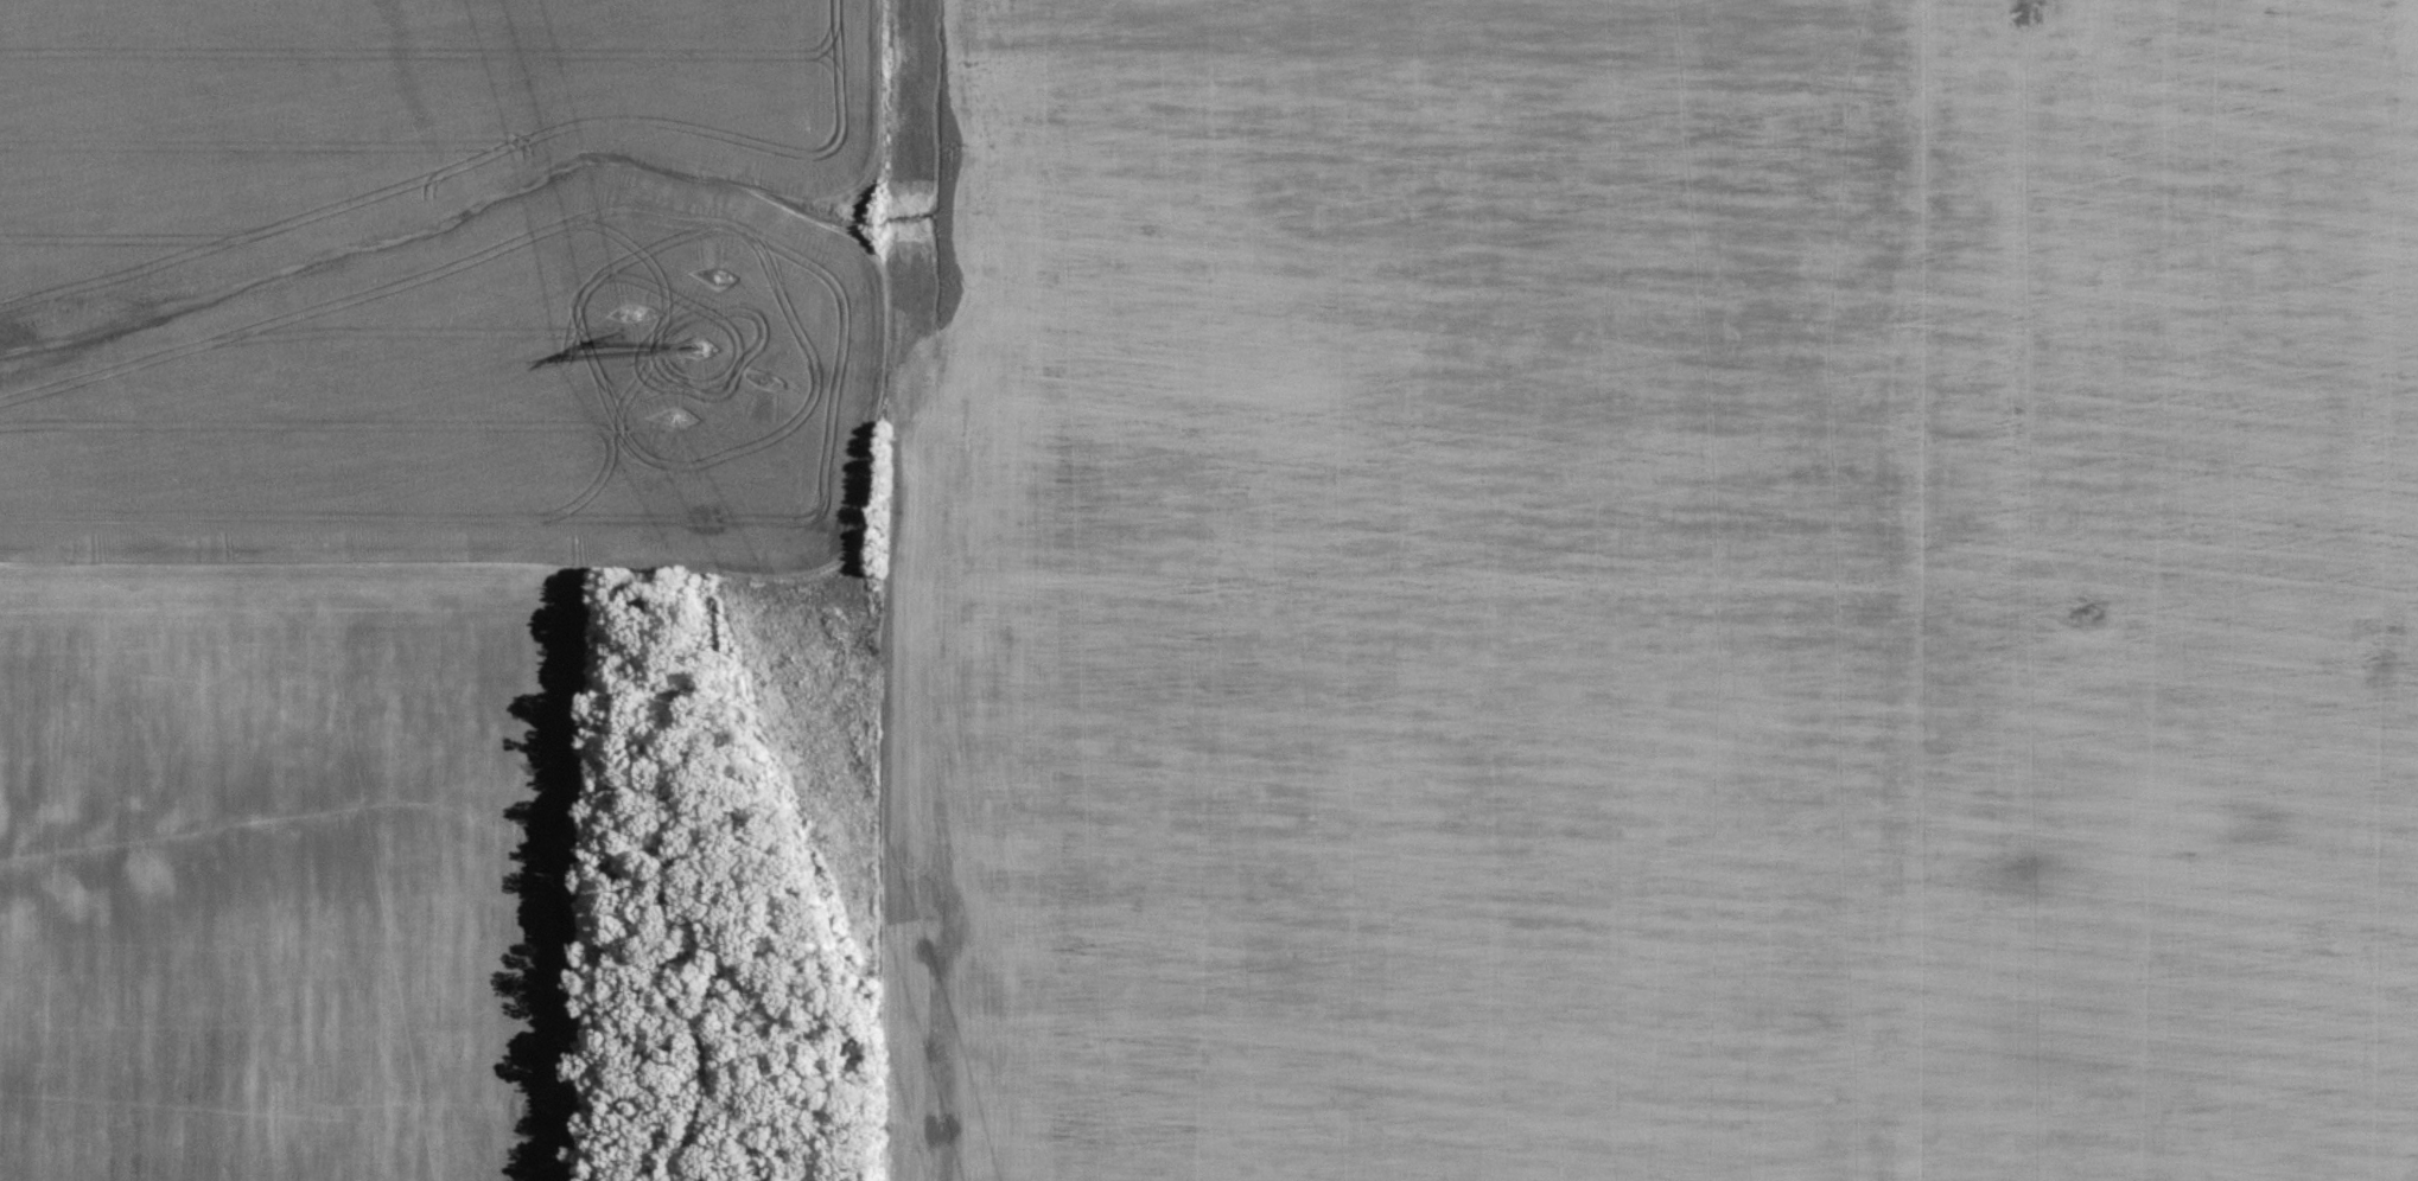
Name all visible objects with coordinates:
power tower: (710, 351)

